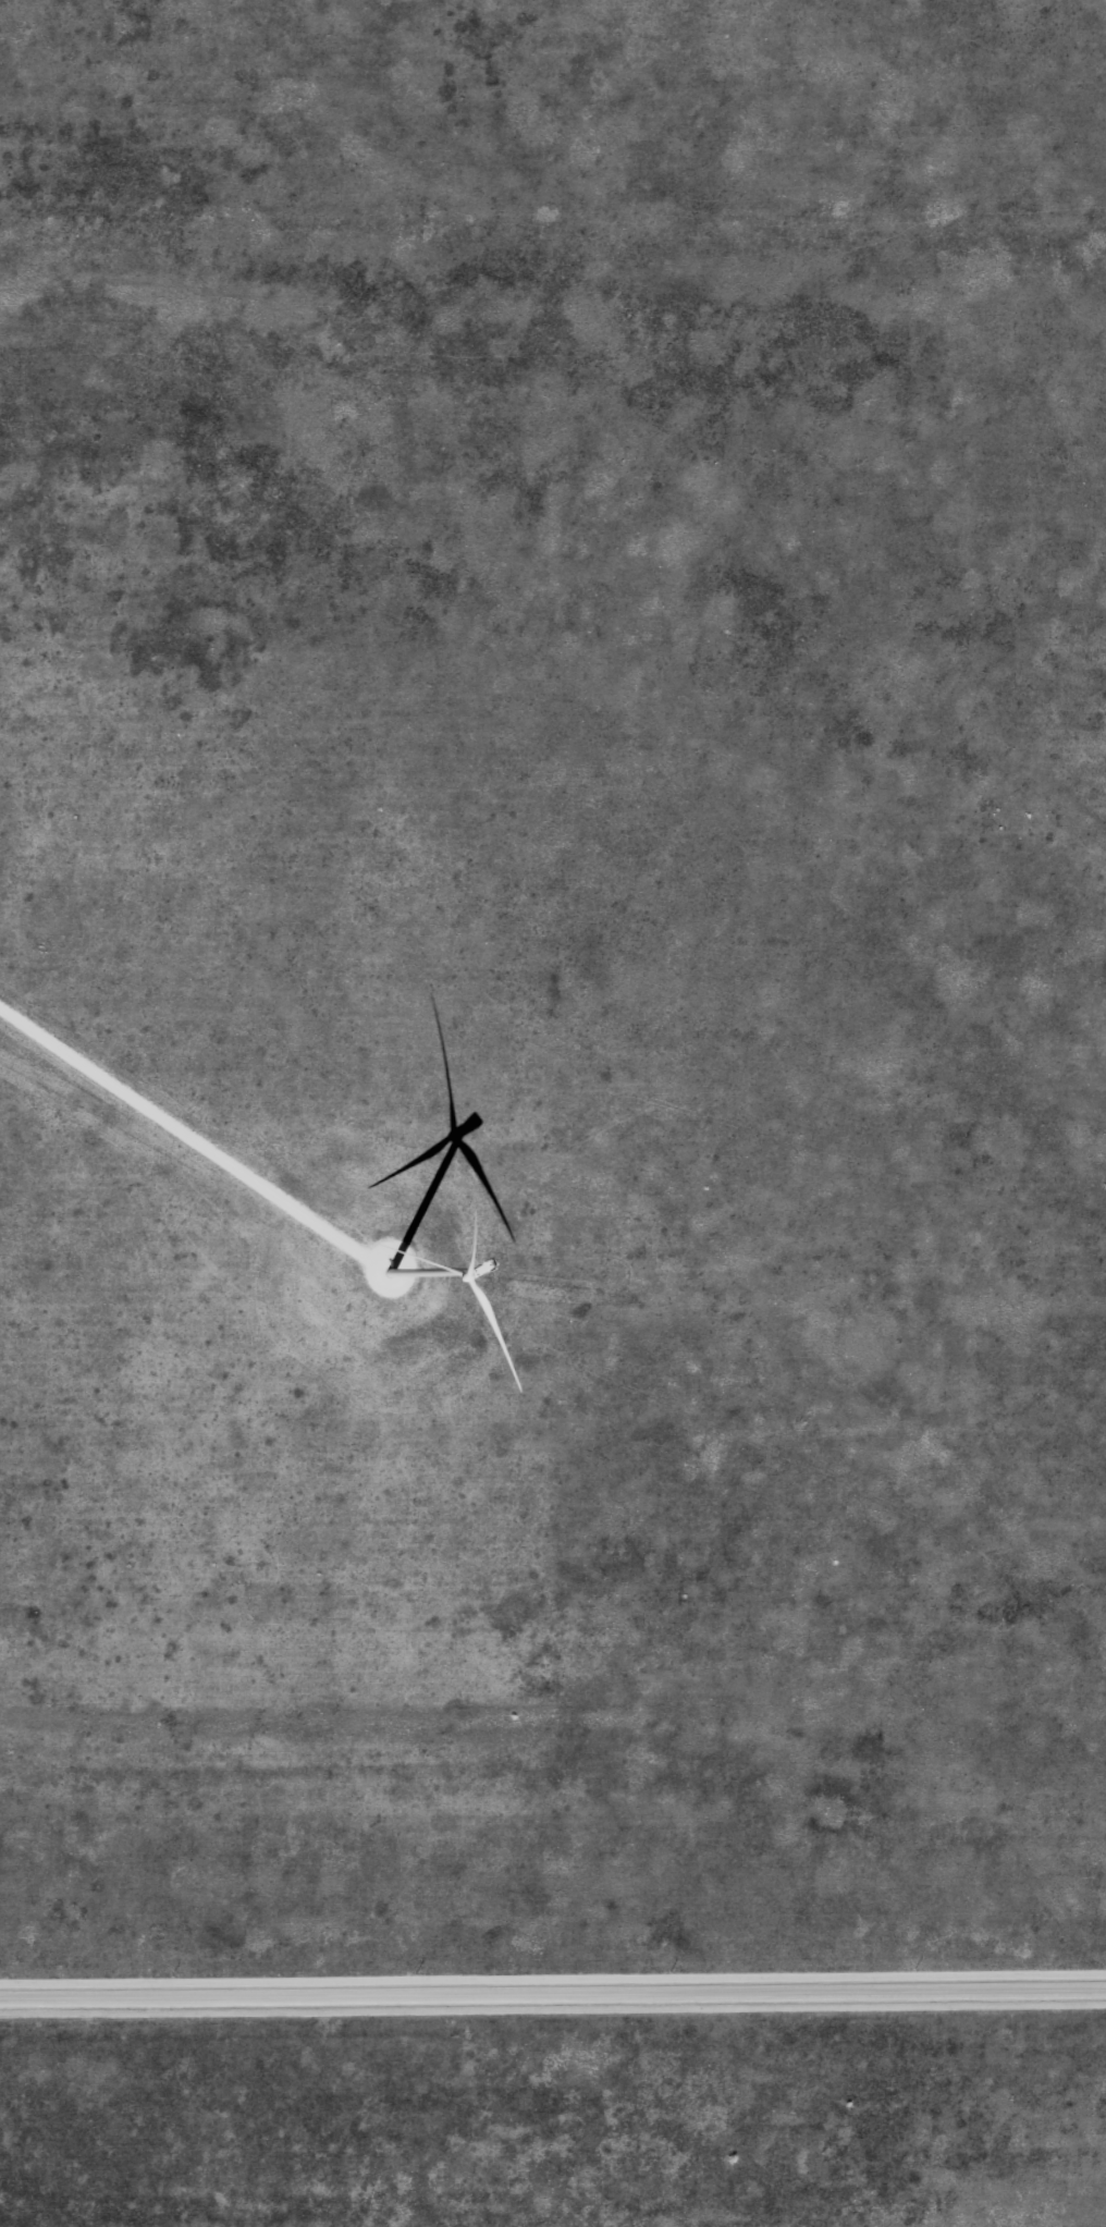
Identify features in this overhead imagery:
wind turbine: (398, 1277)
road: (553, 2000)

